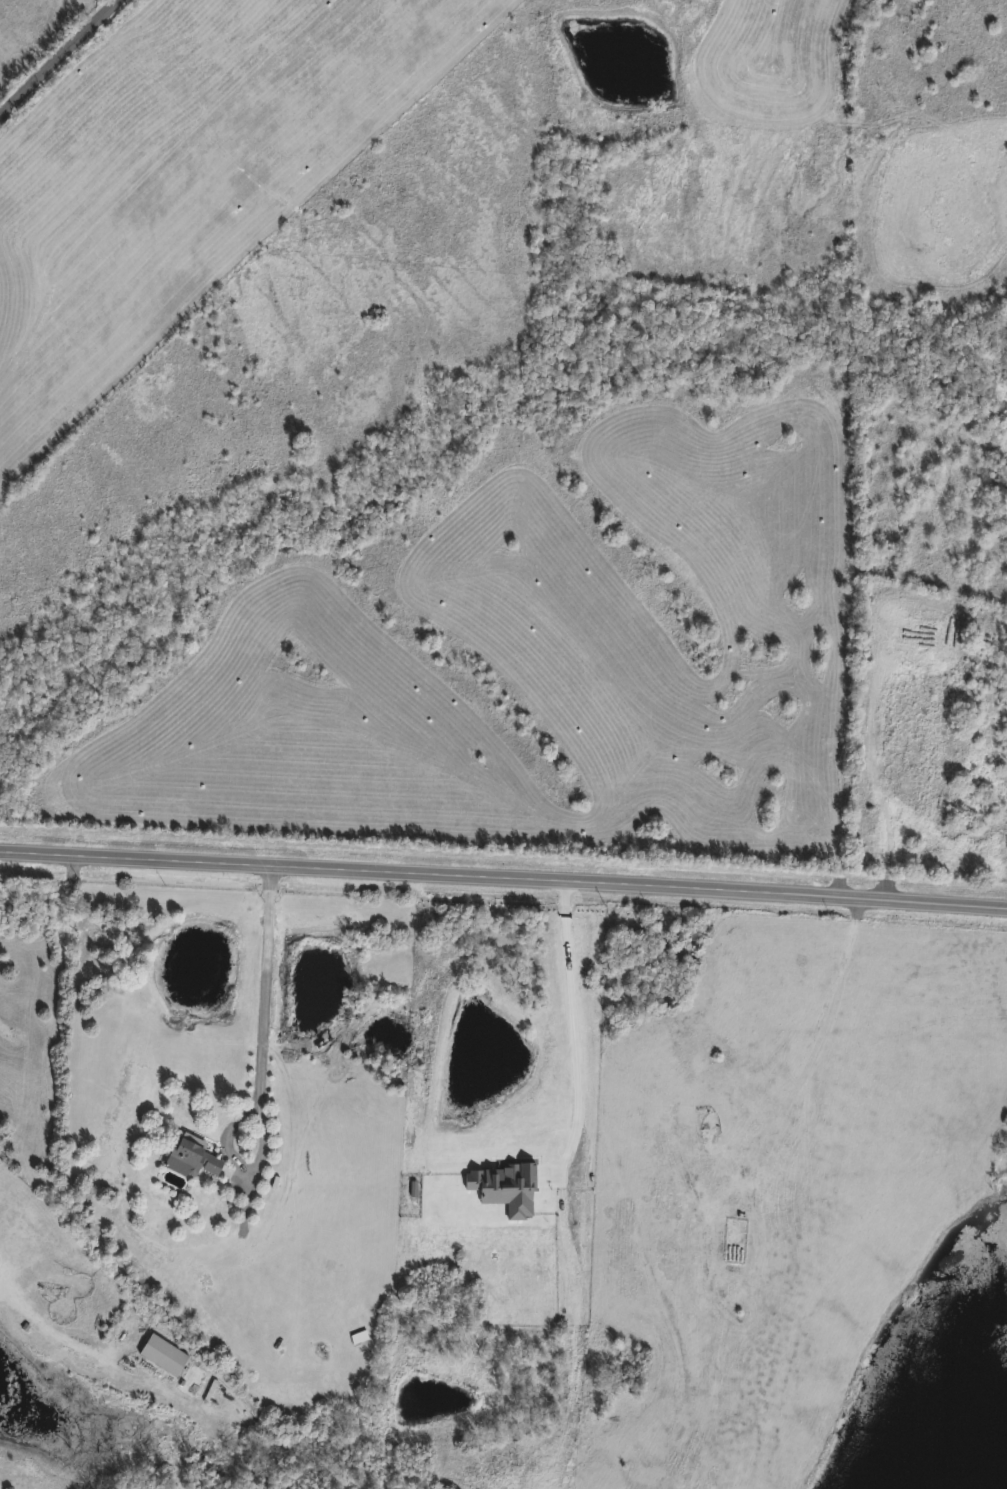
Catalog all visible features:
road: (57, 57)
road: (503, 878)
road: (257, 983)
road: (575, 1036)
building: (196, 1161)
road: (45, 1334)
building: (360, 1339)
building: (165, 1356)

